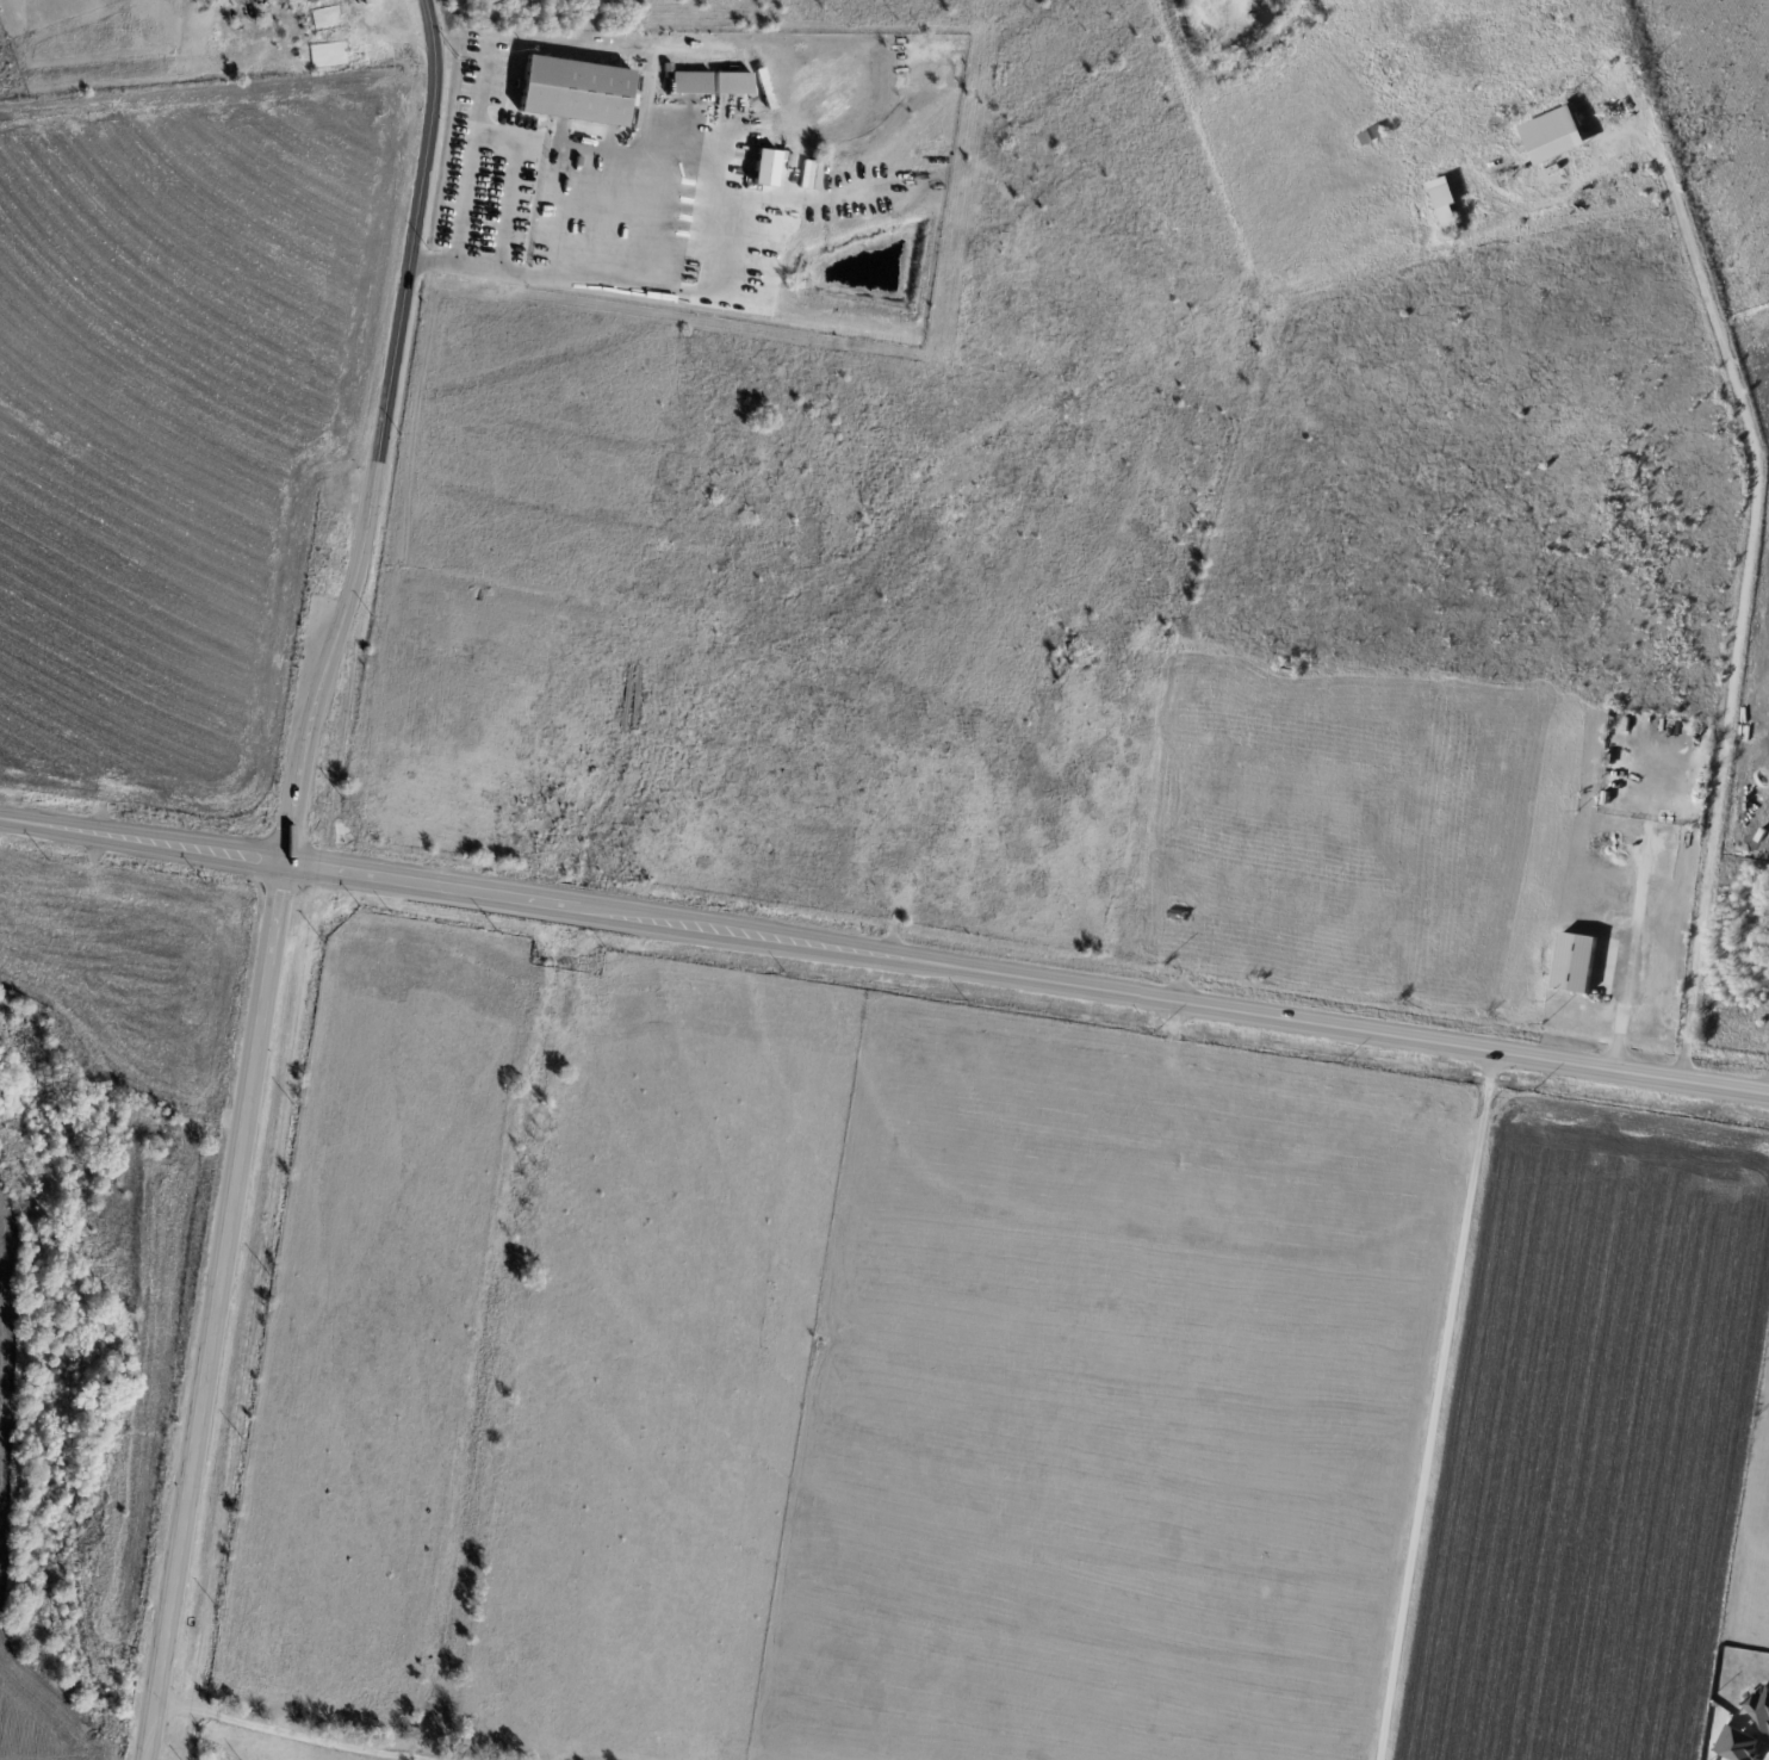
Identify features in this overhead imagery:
road: (393, 35)
building: (690, 81)
building: (732, 82)
building: (575, 89)
building: (1553, 134)
road: (538, 140)
road: (609, 148)
road: (472, 154)
building: (764, 166)
road: (511, 180)
building: (1445, 203)
road: (601, 210)
road: (726, 258)
road: (613, 278)
road: (380, 434)
road: (884, 955)
building: (1575, 961)
road: (1620, 1008)
road: (1768, 1091)
road: (213, 1310)
road: (1436, 1406)
building: (1759, 1704)
road: (290, 1733)
building: (1738, 1743)

